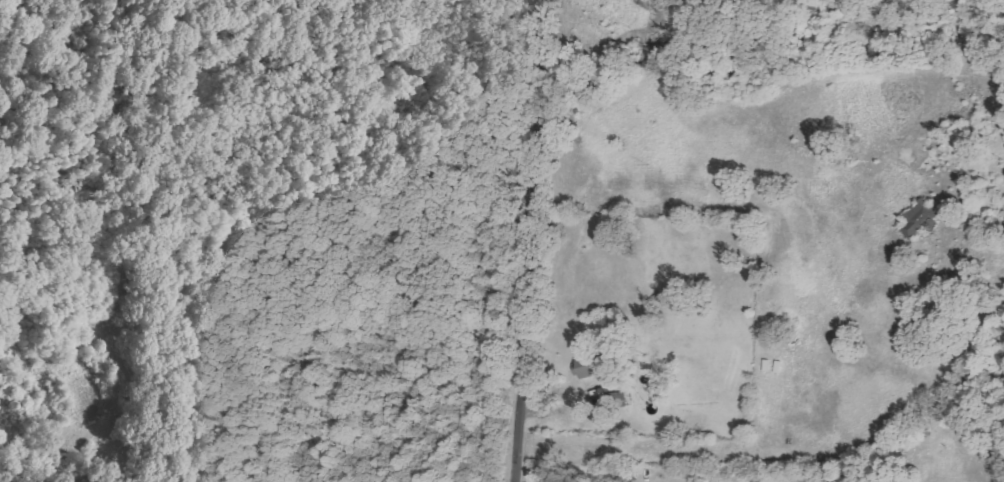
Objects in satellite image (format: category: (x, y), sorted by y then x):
building: (922, 219)
road: (521, 241)

